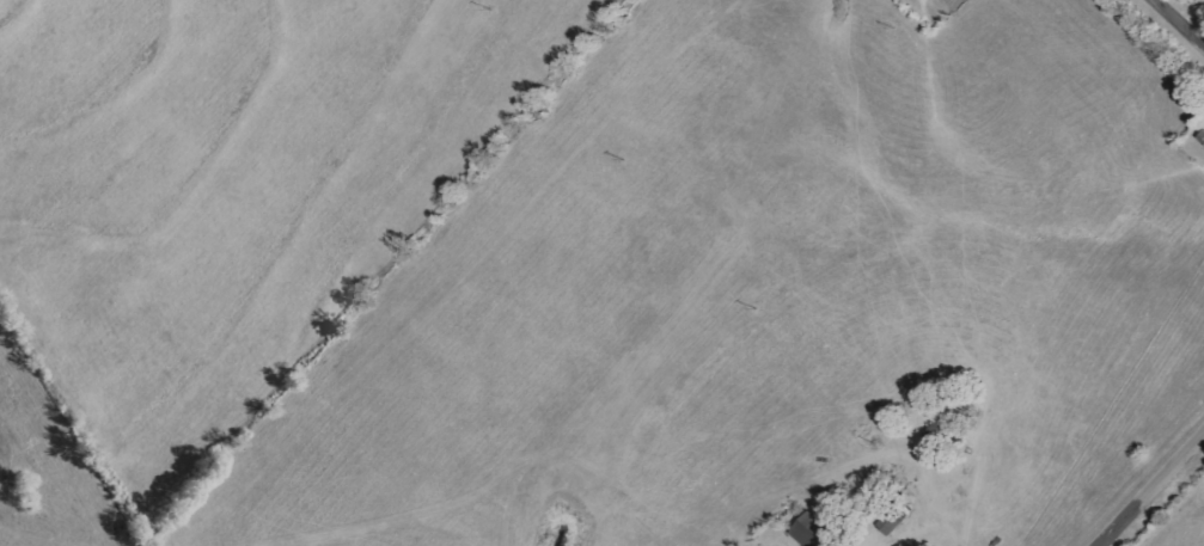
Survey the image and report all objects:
road: (1169, 33)
building: (1202, 136)
road: (1153, 493)
building: (896, 520)
building: (813, 530)

